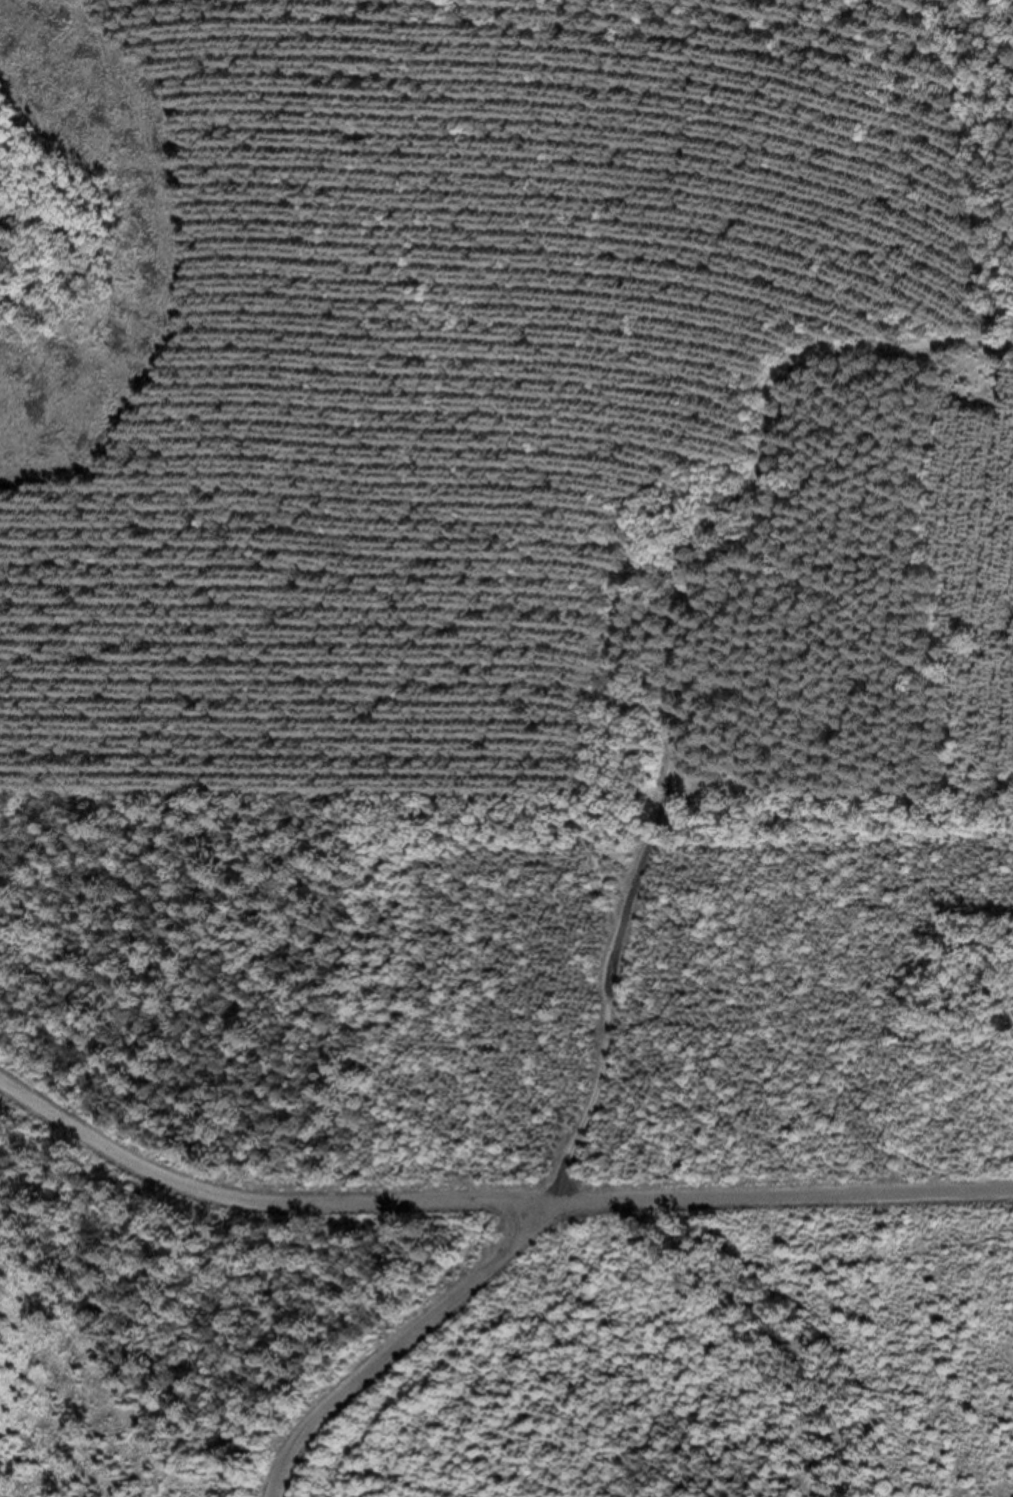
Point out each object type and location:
road: (491, 1205)
road: (405, 1345)

